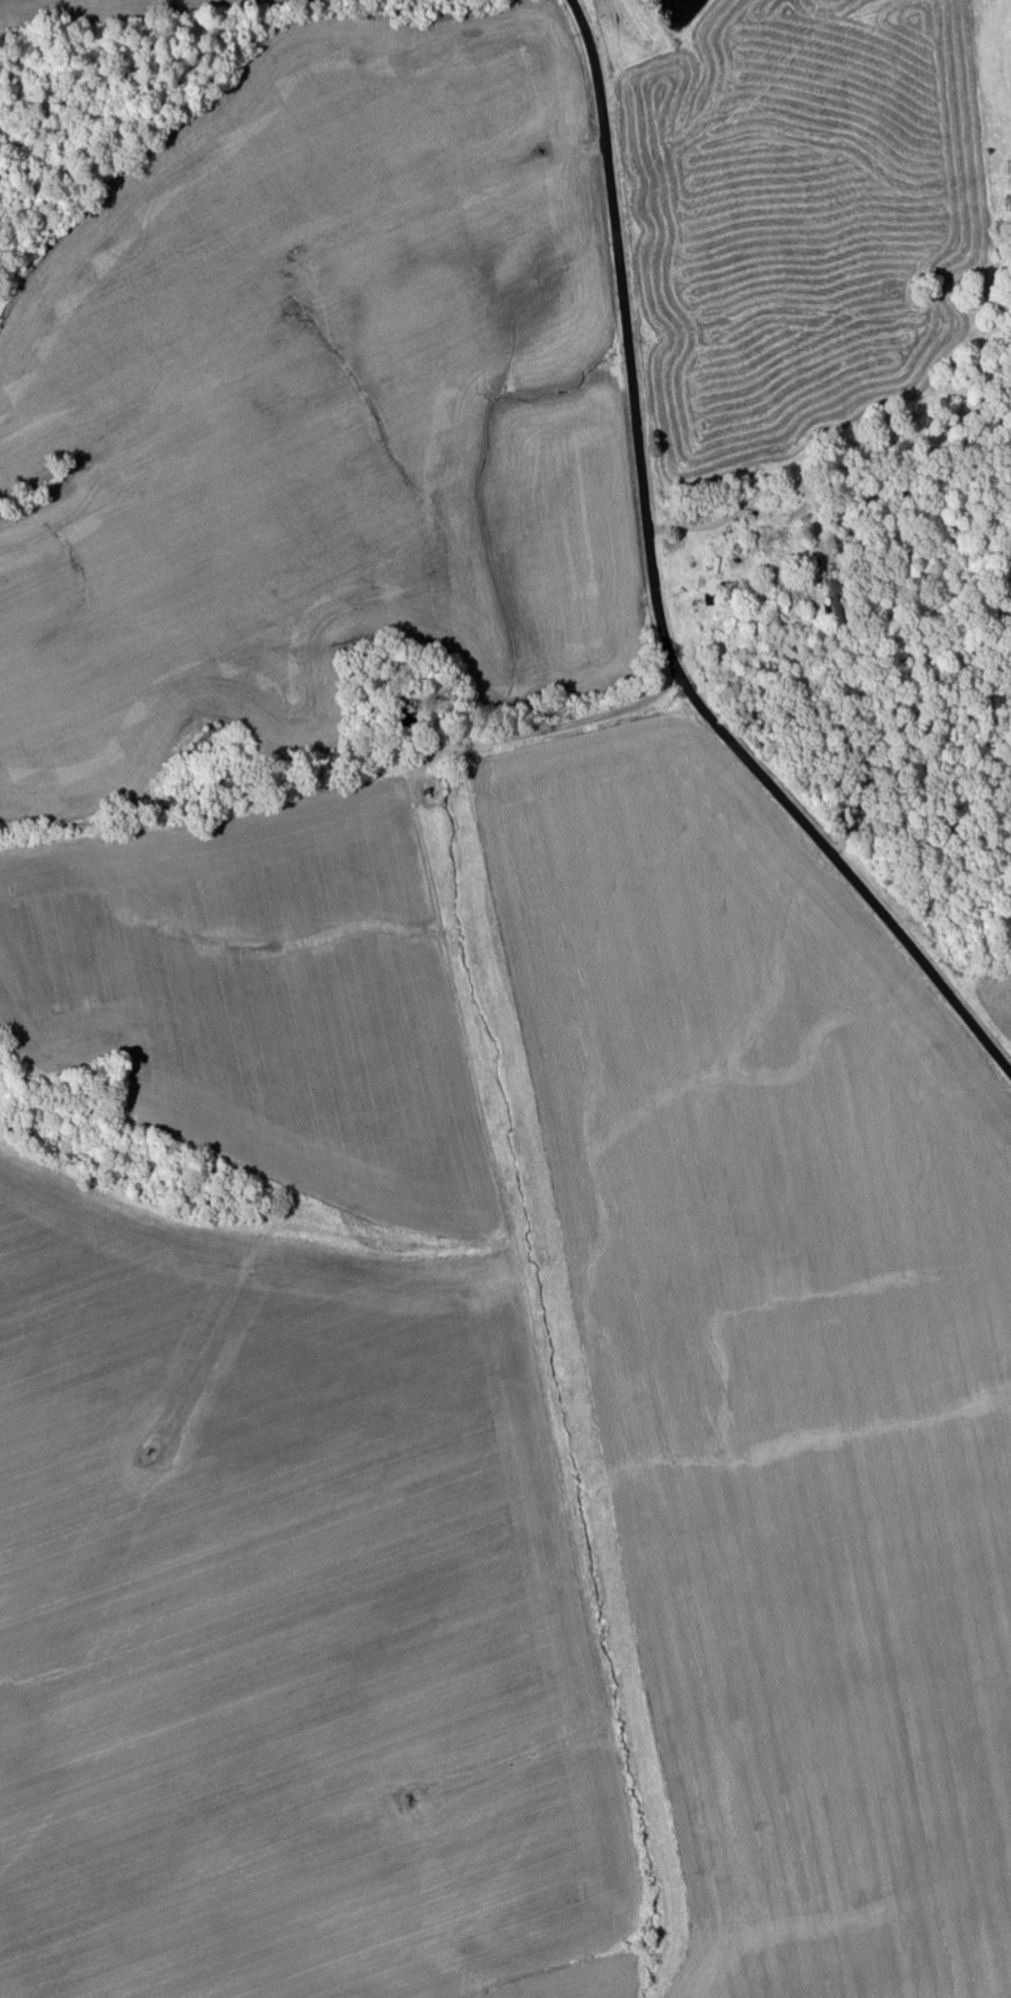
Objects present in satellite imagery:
road: (658, 594)

